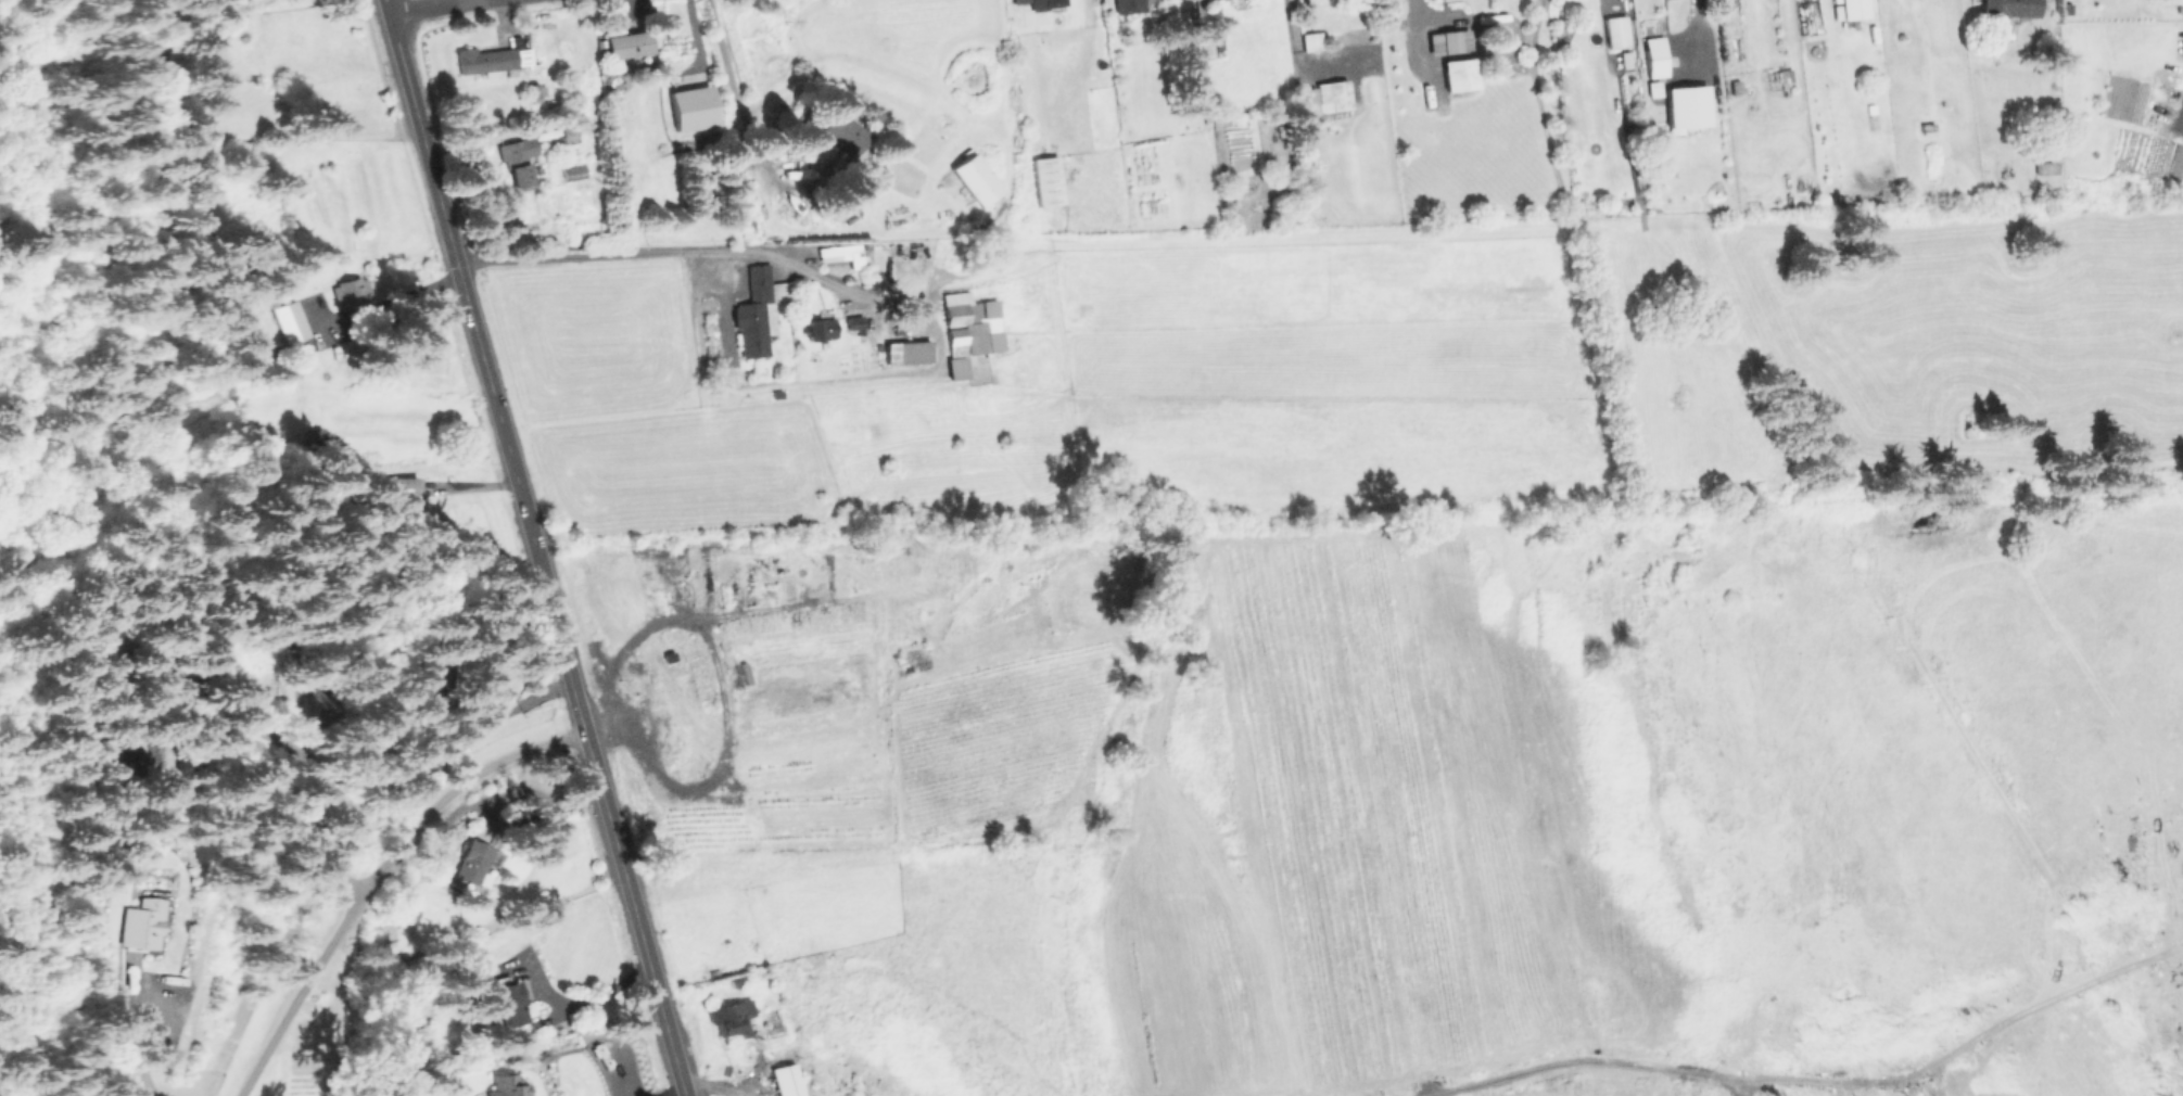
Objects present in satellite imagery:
building: (1208, 0)
building: (1027, 1)
road: (1611, 3)
building: (1128, 5)
road: (424, 7)
building: (1855, 8)
building: (2010, 9)
road: (1486, 15)
building: (668, 25)
building: (1617, 33)
building: (1313, 42)
building: (1450, 42)
building: (627, 47)
road: (1292, 47)
building: (490, 61)
building: (1657, 63)
building: (1461, 75)
building: (1820, 76)
building: (1787, 79)
building: (535, 93)
building: (1335, 94)
road: (736, 105)
building: (1875, 122)
building: (1928, 127)
building: (845, 132)
building: (572, 138)
road: (466, 140)
building: (519, 162)
building: (2047, 168)
building: (977, 180)
building: (1049, 181)
road: (648, 253)
building: (840, 255)
building: (352, 292)
road: (384, 301)
building: (760, 313)
building: (291, 322)
building: (817, 331)
building: (966, 331)
building: (904, 354)
building: (294, 368)
building: (778, 395)
building: (314, 437)
road: (466, 488)
building: (398, 494)
road: (525, 548)
building: (138, 659)
building: (413, 676)
building: (320, 703)
road: (486, 721)
building: (129, 755)
building: (416, 759)
road: (304, 769)
building: (474, 866)
road: (373, 879)
building: (147, 923)
building: (799, 945)
building: (804, 964)
building: (507, 1002)
road: (583, 1008)
building: (733, 1019)
building: (775, 1025)
road: (145, 1040)
building: (787, 1081)
road: (1813, 1083)
building: (508, 1086)
road: (672, 1093)
building: (1921, 1093)

